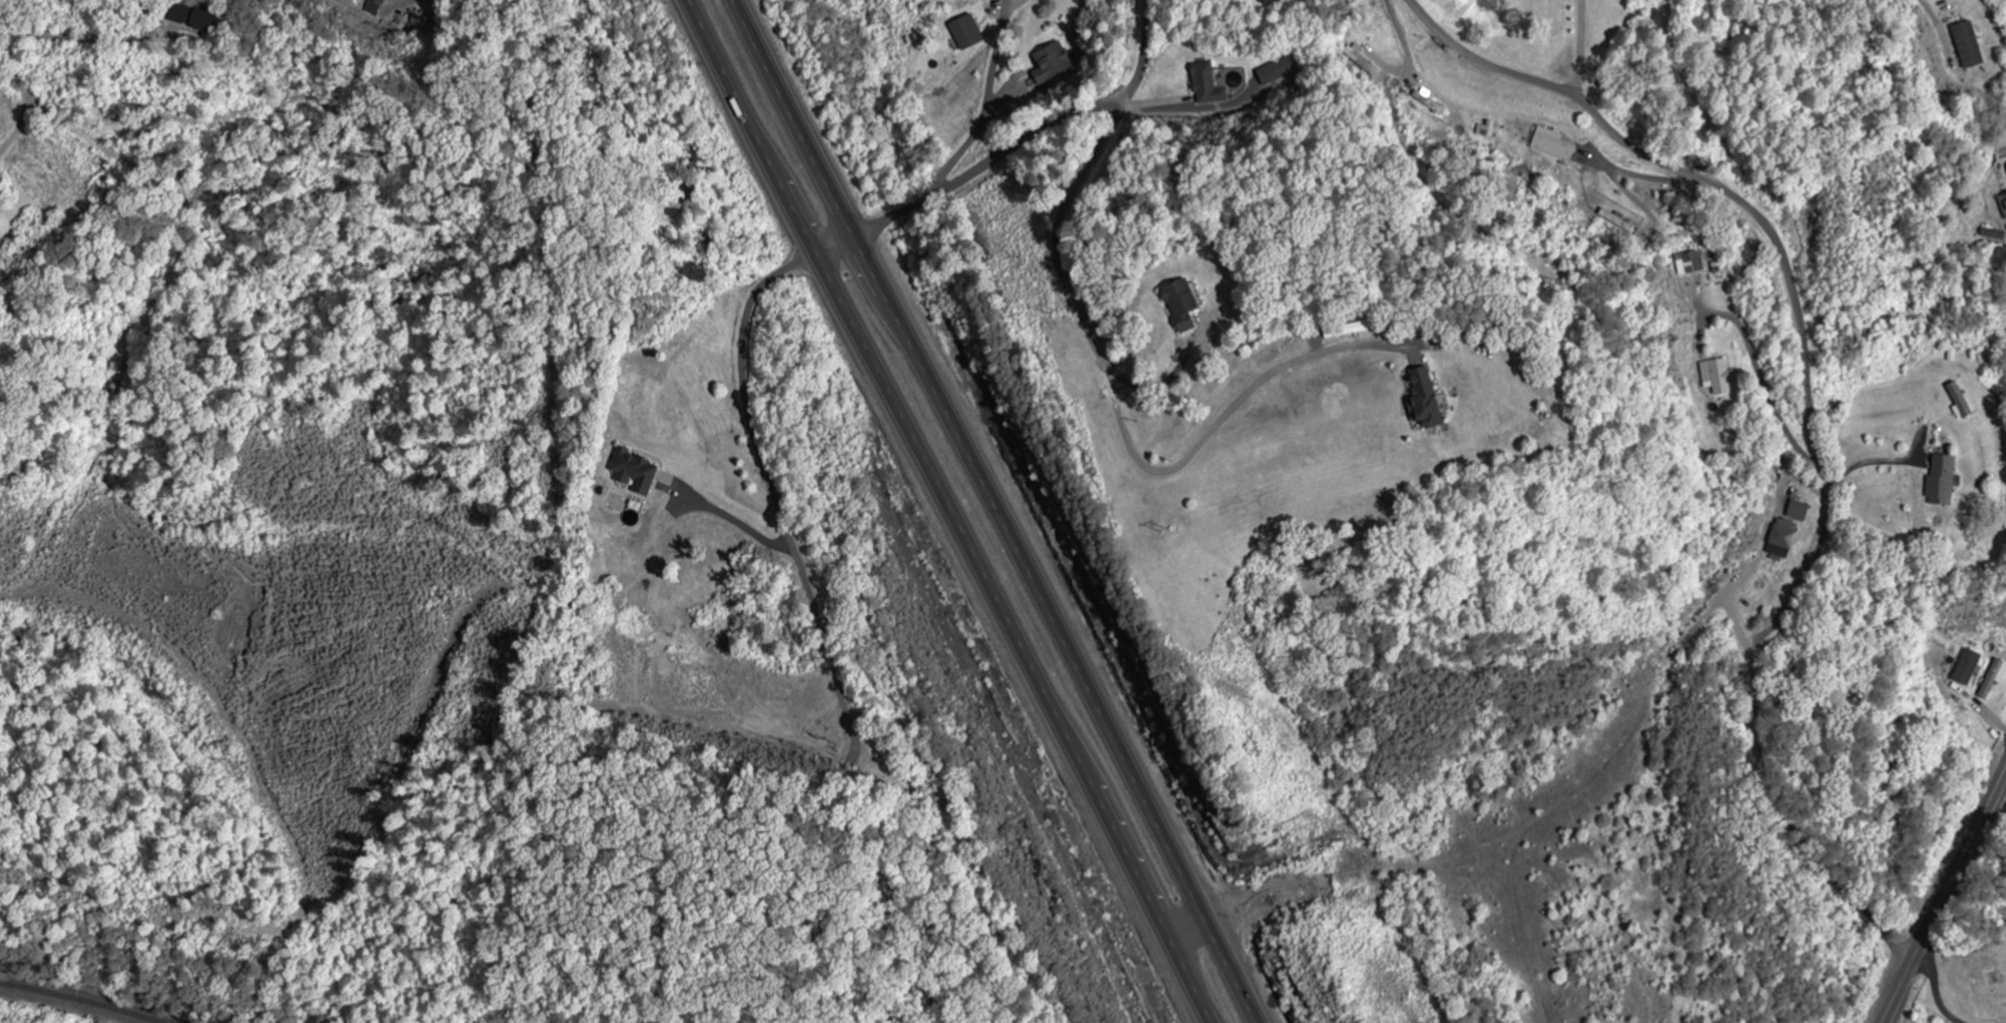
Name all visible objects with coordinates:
building: (374, 7)
building: (184, 15)
building: (967, 33)
building: (1968, 45)
building: (1053, 64)
building: (1279, 72)
building: (1207, 85)
road: (988, 103)
building: (1487, 130)
building: (1553, 145)
road: (1015, 148)
building: (2003, 204)
building: (1993, 235)
building: (1690, 263)
building: (1181, 305)
building: (1348, 330)
building: (1718, 377)
building: (1960, 400)
building: (1424, 401)
road: (1812, 410)
road: (1126, 425)
building: (633, 472)
building: (1941, 482)
road: (945, 511)
road: (998, 511)
building: (1798, 511)
building: (1783, 540)
building: (1966, 668)
building: (1994, 679)
road: (1780, 706)
road: (1945, 897)
railway: (89, 989)

